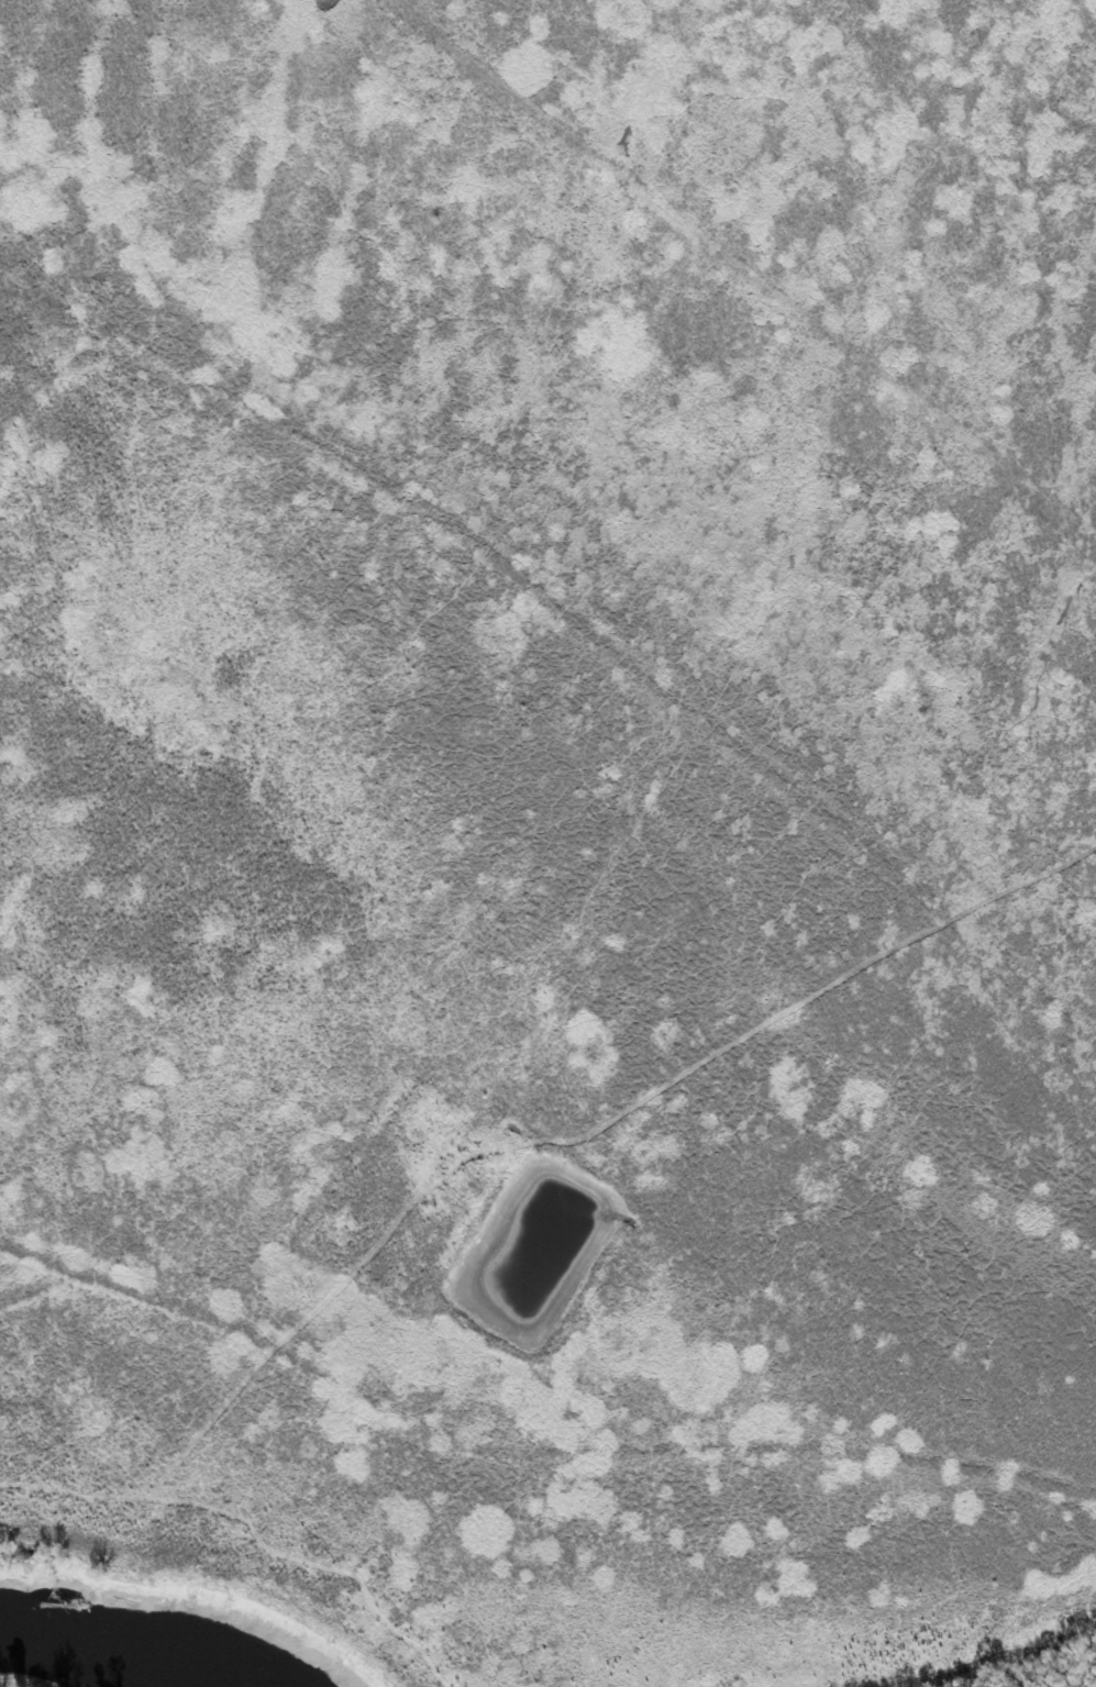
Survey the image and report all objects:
river: (96, 1660)

